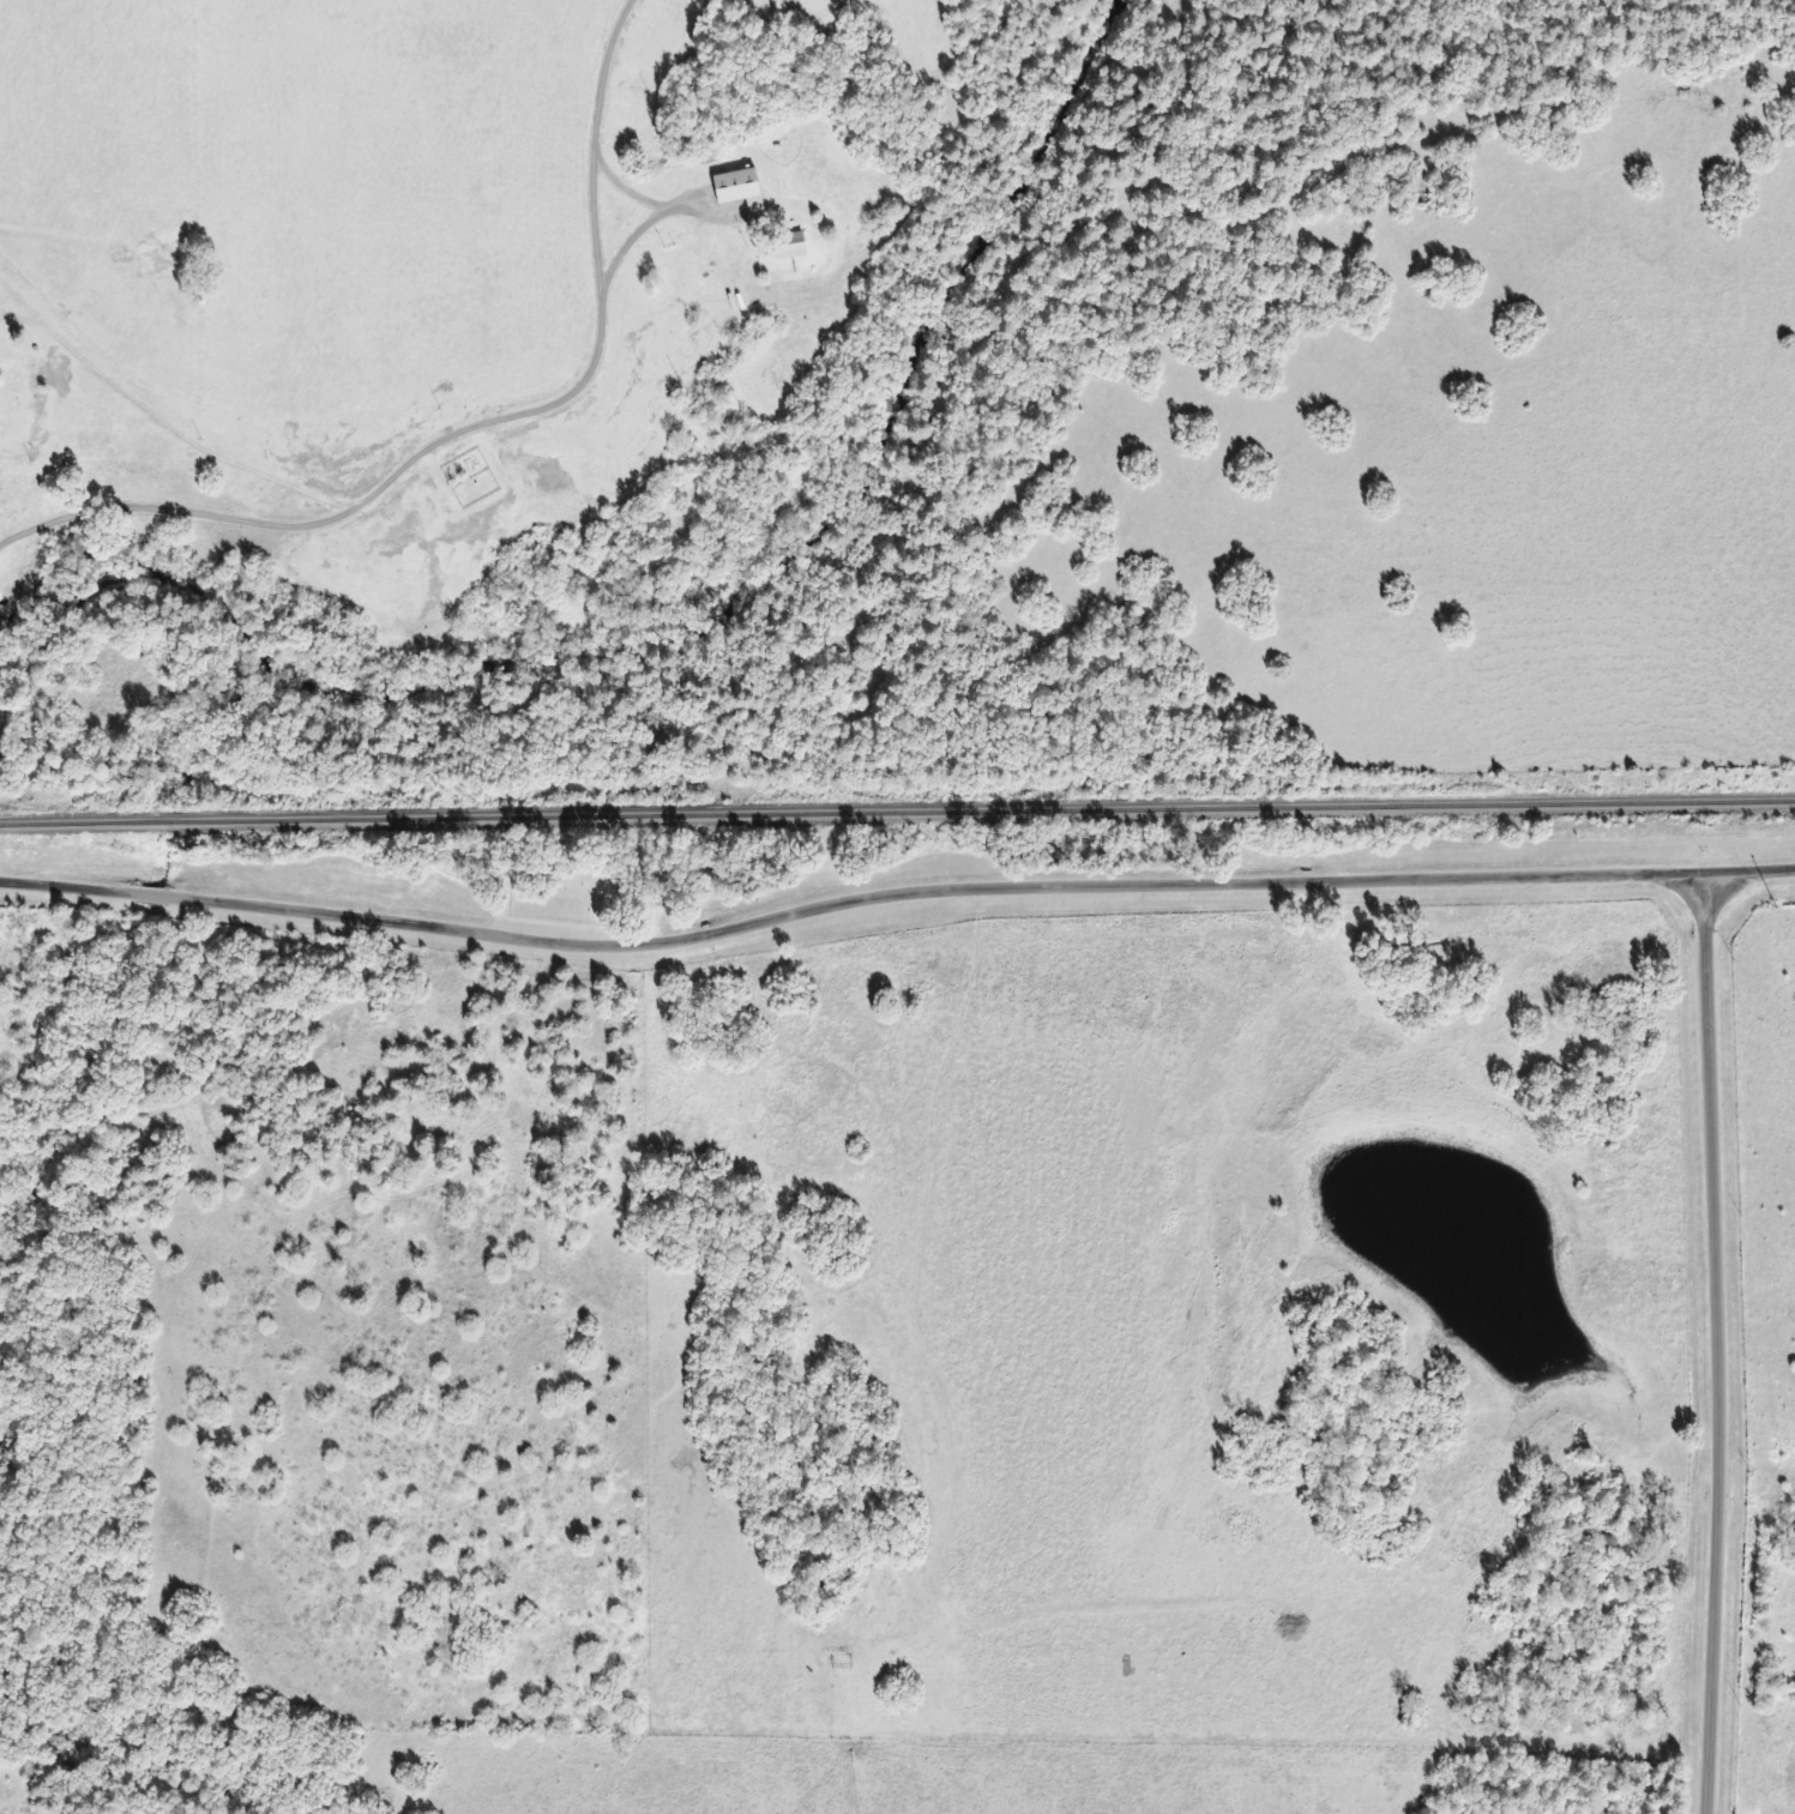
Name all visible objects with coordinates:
building: (730, 188)
building: (781, 247)
road: (164, 429)
road: (470, 429)
road: (71, 698)
railway: (897, 813)
park: (579, 881)
road: (893, 896)
road: (1710, 1344)

